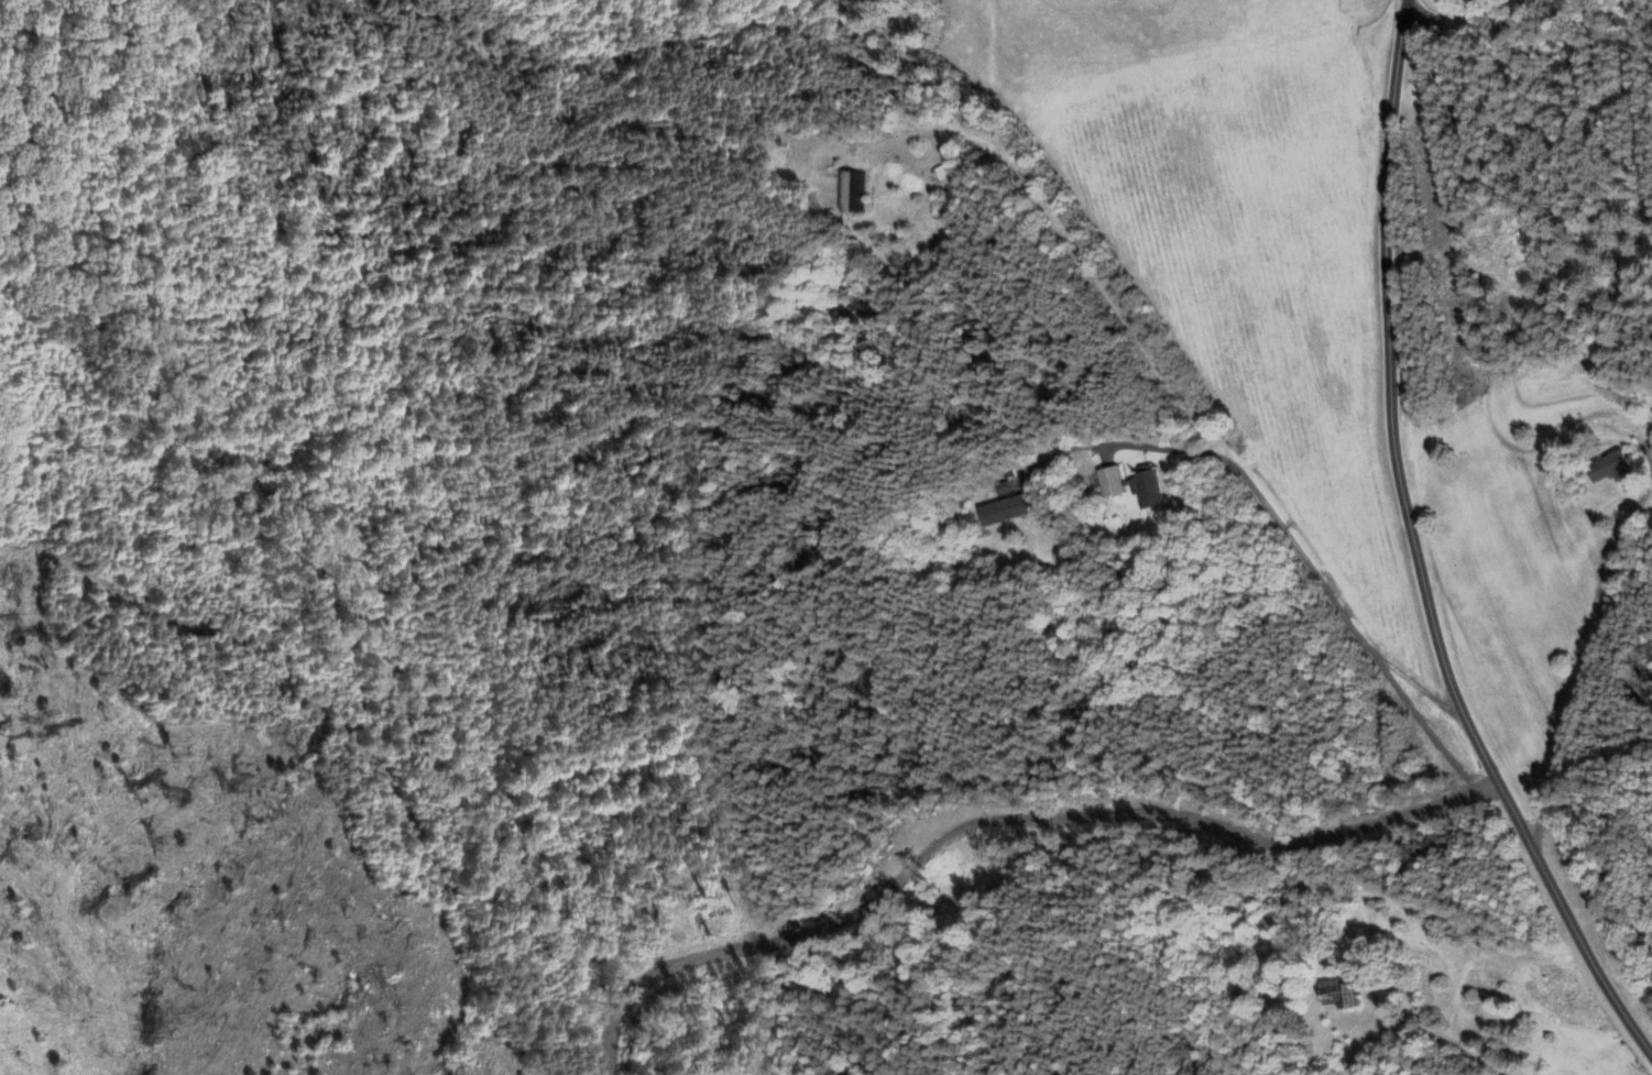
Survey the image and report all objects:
building: (942, 175)
building: (851, 193)
building: (1610, 470)
building: (1109, 483)
building: (1147, 489)
road: (1269, 509)
building: (1005, 512)
road: (1418, 548)
road: (1588, 658)
road: (1418, 720)
road: (1006, 823)
building: (1337, 994)

